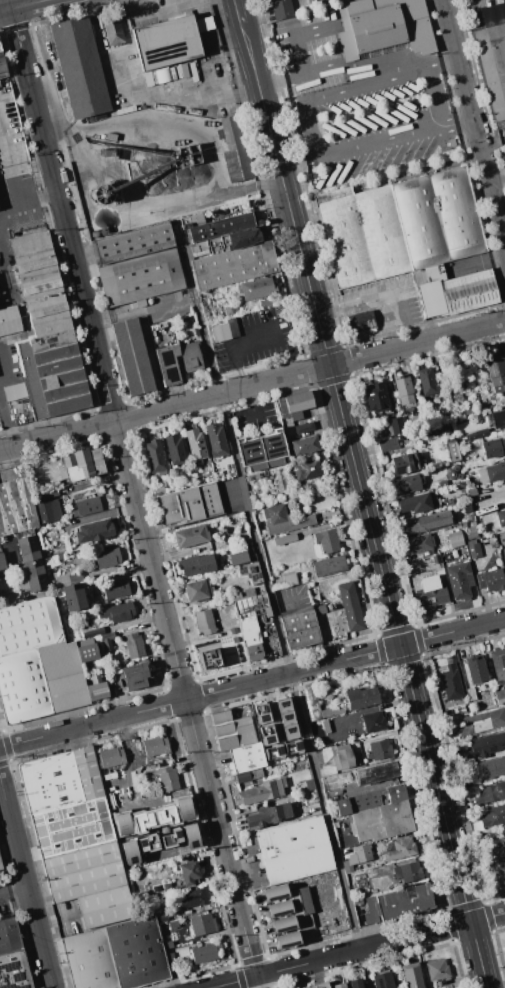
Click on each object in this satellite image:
road: (9, 4)
road: (21, 6)
building: (280, 9)
road: (163, 10)
road: (240, 11)
building: (384, 26)
building: (112, 28)
road: (293, 35)
building: (165, 41)
road: (132, 46)
building: (492, 56)
building: (80, 67)
building: (2, 68)
road: (317, 73)
road: (202, 100)
parking lot: (358, 107)
road: (474, 117)
road: (314, 128)
building: (234, 150)
road: (21, 162)
road: (498, 182)
road: (33, 195)
parking lot: (17, 208)
road: (5, 211)
building: (407, 238)
building: (131, 243)
building: (227, 251)
road: (478, 259)
building: (38, 277)
road: (5, 278)
building: (139, 278)
building: (256, 287)
road: (376, 296)
parking lot: (388, 299)
building: (265, 302)
road: (400, 303)
road: (198, 310)
road: (135, 311)
building: (9, 320)
building: (361, 320)
road: (44, 327)
building: (224, 331)
building: (50, 334)
road: (417, 343)
road: (237, 345)
building: (190, 356)
building: (131, 357)
building: (167, 364)
building: (495, 372)
road: (274, 379)
building: (60, 380)
building: (425, 381)
building: (403, 390)
building: (14, 391)
building: (375, 397)
building: (293, 405)
building: (467, 411)
building: (498, 418)
road: (7, 419)
road: (109, 421)
building: (395, 425)
building: (303, 427)
building: (477, 434)
building: (215, 440)
building: (194, 443)
building: (386, 444)
building: (303, 445)
building: (493, 447)
building: (174, 449)
building: (261, 451)
building: (452, 451)
building: (154, 456)
building: (403, 463)
building: (82, 464)
building: (305, 469)
building: (491, 472)
building: (452, 473)
building: (405, 484)
building: (470, 492)
road: (136, 498)
building: (415, 503)
building: (190, 504)
road: (365, 505)
building: (85, 506)
building: (15, 507)
building: (47, 512)
building: (500, 517)
building: (283, 519)
building: (428, 522)
building: (49, 528)
building: (92, 531)
building: (470, 534)
building: (190, 536)
building: (454, 538)
building: (283, 539)
building: (325, 541)
building: (419, 542)
building: (474, 550)
building: (106, 557)
building: (237, 558)
building: (504, 558)
building: (2, 560)
building: (196, 564)
building: (30, 565)
building: (329, 566)
building: (504, 568)
building: (250, 570)
building: (289, 579)
building: (459, 580)
building: (490, 580)
building: (114, 588)
building: (197, 590)
building: (430, 592)
building: (73, 597)
building: (349, 607)
building: (319, 609)
building: (265, 611)
building: (115, 612)
building: (203, 622)
building: (29, 625)
building: (298, 628)
building: (94, 631)
building: (232, 631)
building: (250, 638)
building: (106, 641)
building: (132, 645)
building: (88, 651)
building: (209, 659)
building: (498, 664)
building: (475, 669)
building: (62, 676)
building: (132, 677)
road: (252, 682)
building: (450, 682)
building: (22, 687)
building: (96, 687)
road: (296, 690)
building: (470, 694)
building: (500, 695)
building: (360, 697)
building: (317, 706)
building: (260, 713)
building: (285, 718)
building: (372, 721)
building: (481, 722)
building: (231, 730)
building: (265, 734)
building: (483, 745)
building: (154, 746)
building: (291, 747)
building: (378, 749)
building: (273, 751)
building: (110, 757)
building: (344, 757)
road: (133, 761)
building: (245, 762)
building: (487, 769)
building: (88, 772)
building: (375, 773)
parking lot: (124, 774)
building: (166, 778)
building: (50, 782)
building: (305, 786)
building: (261, 792)
building: (490, 793)
building: (357, 803)
building: (183, 809)
building: (165, 815)
building: (268, 815)
building: (493, 816)
building: (383, 818)
building: (141, 821)
building: (121, 824)
building: (73, 826)
building: (189, 835)
building: (483, 837)
building: (170, 839)
building: (148, 843)
building: (399, 849)
building: (294, 850)
building: (129, 852)
building: (356, 857)
building: (496, 862)
building: (0, 867)
building: (0, 869)
building: (84, 871)
building: (407, 871)
building: (188, 873)
road: (27, 881)
building: (166, 887)
road: (14, 891)
building: (274, 892)
building: (192, 898)
building: (396, 904)
building: (302, 907)
building: (106, 908)
building: (278, 908)
road: (55, 921)
building: (201, 924)
building: (282, 924)
building: (286, 939)
road: (357, 951)
building: (137, 952)
building: (205, 953)
building: (12, 957)
building: (89, 960)
building: (436, 969)
building: (412, 975)
building: (382, 980)
building: (355, 983)
building: (317, 985)
building: (339, 985)

